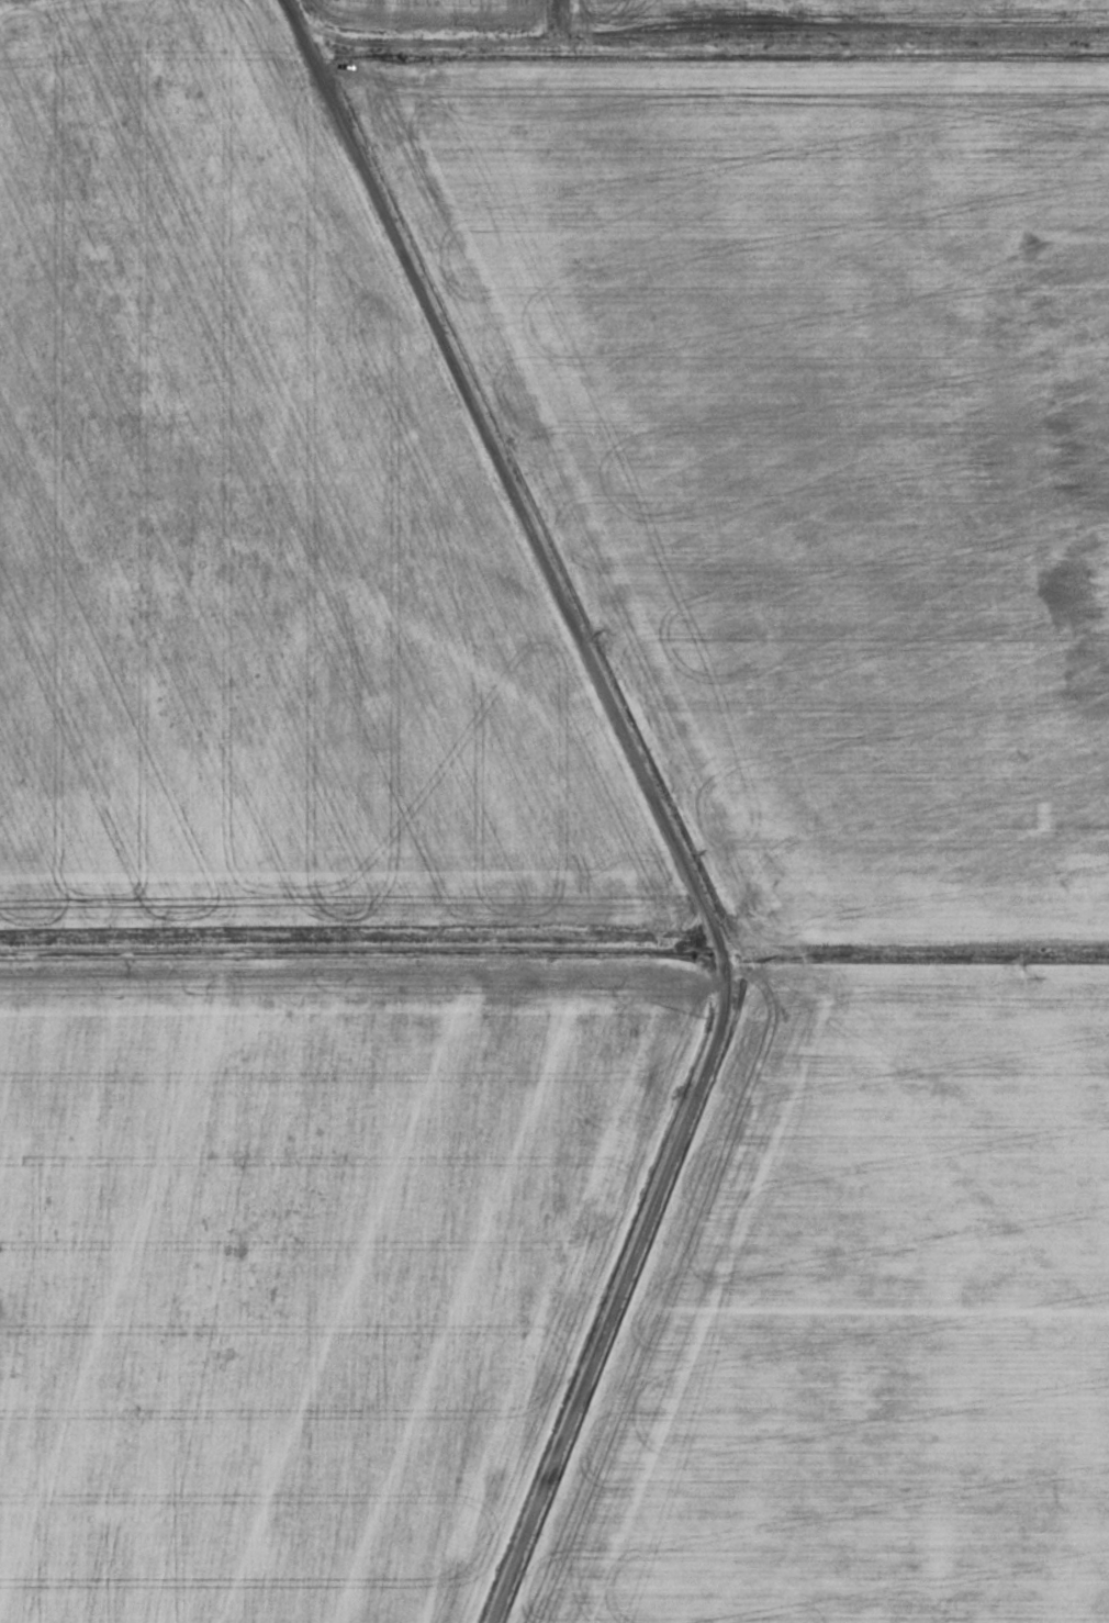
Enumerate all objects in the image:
road: (658, 799)

